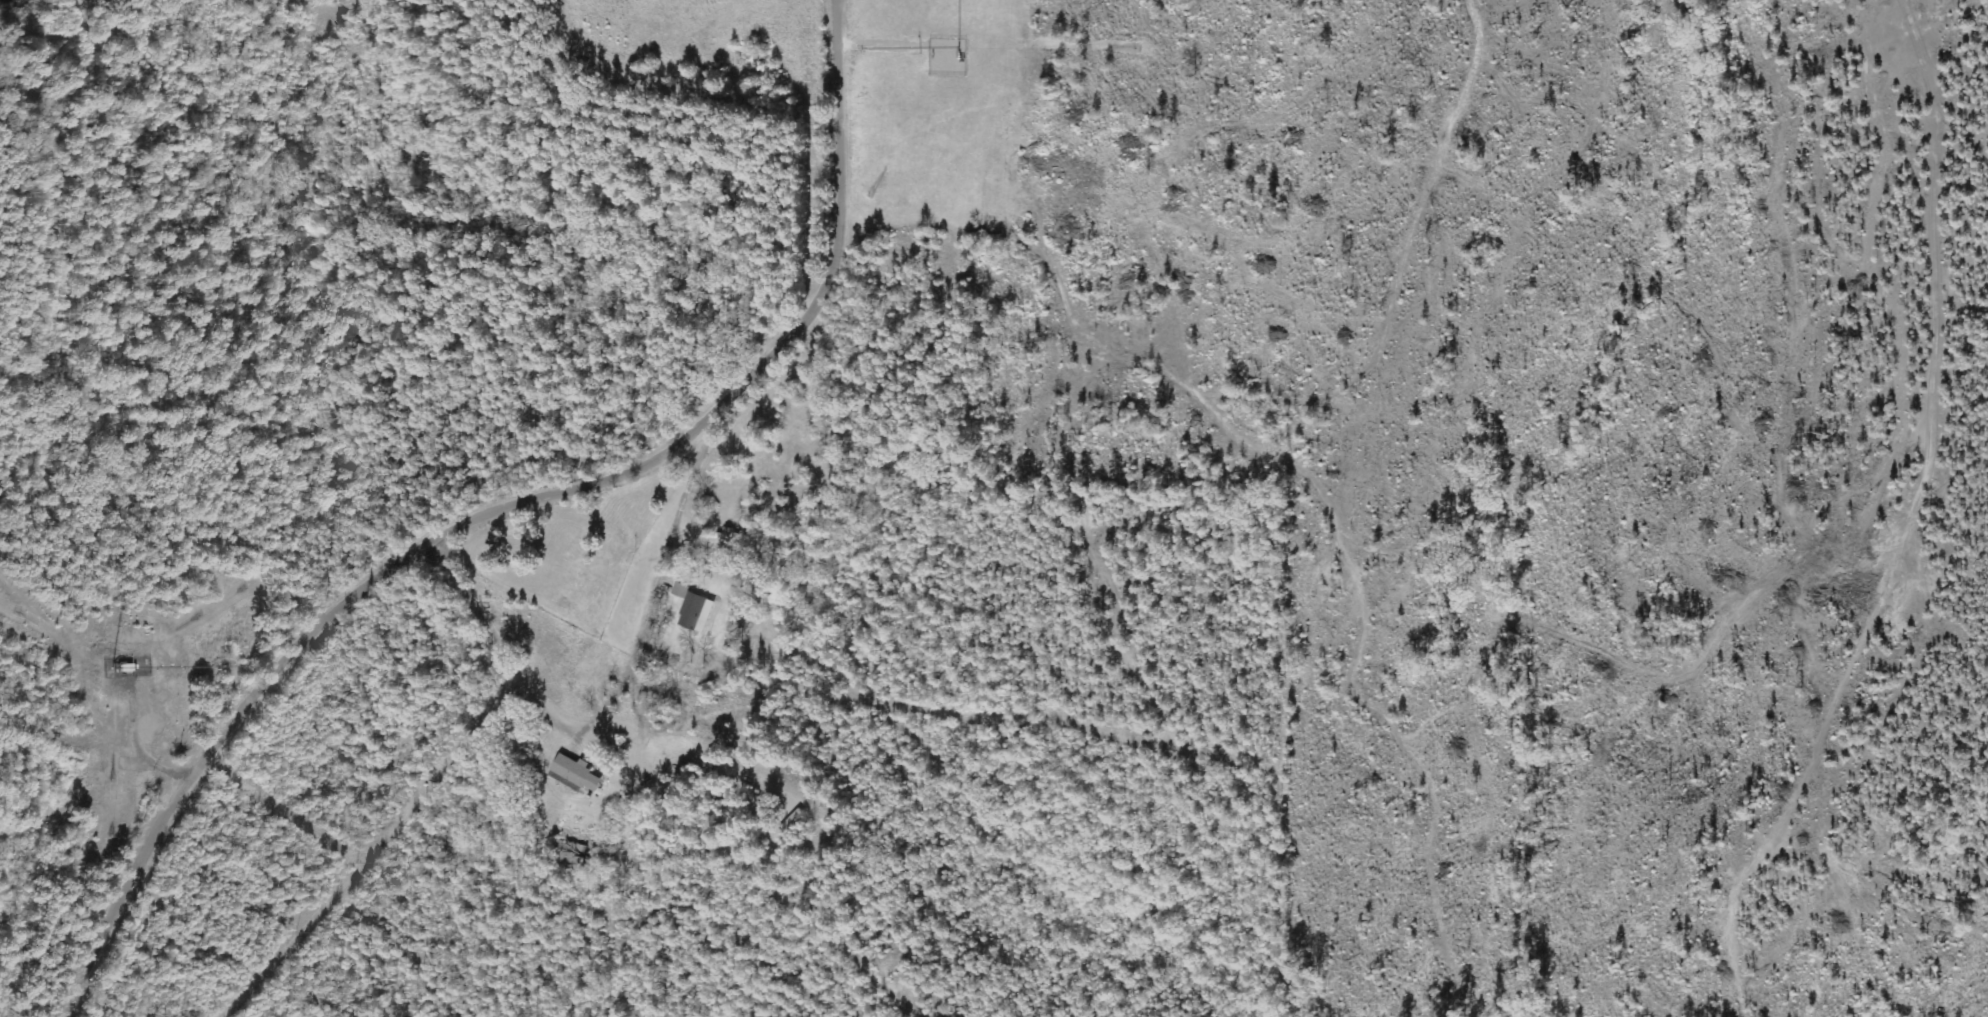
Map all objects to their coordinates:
road: (514, 512)
building: (696, 609)
road: (605, 729)
building: (581, 772)
building: (570, 781)

